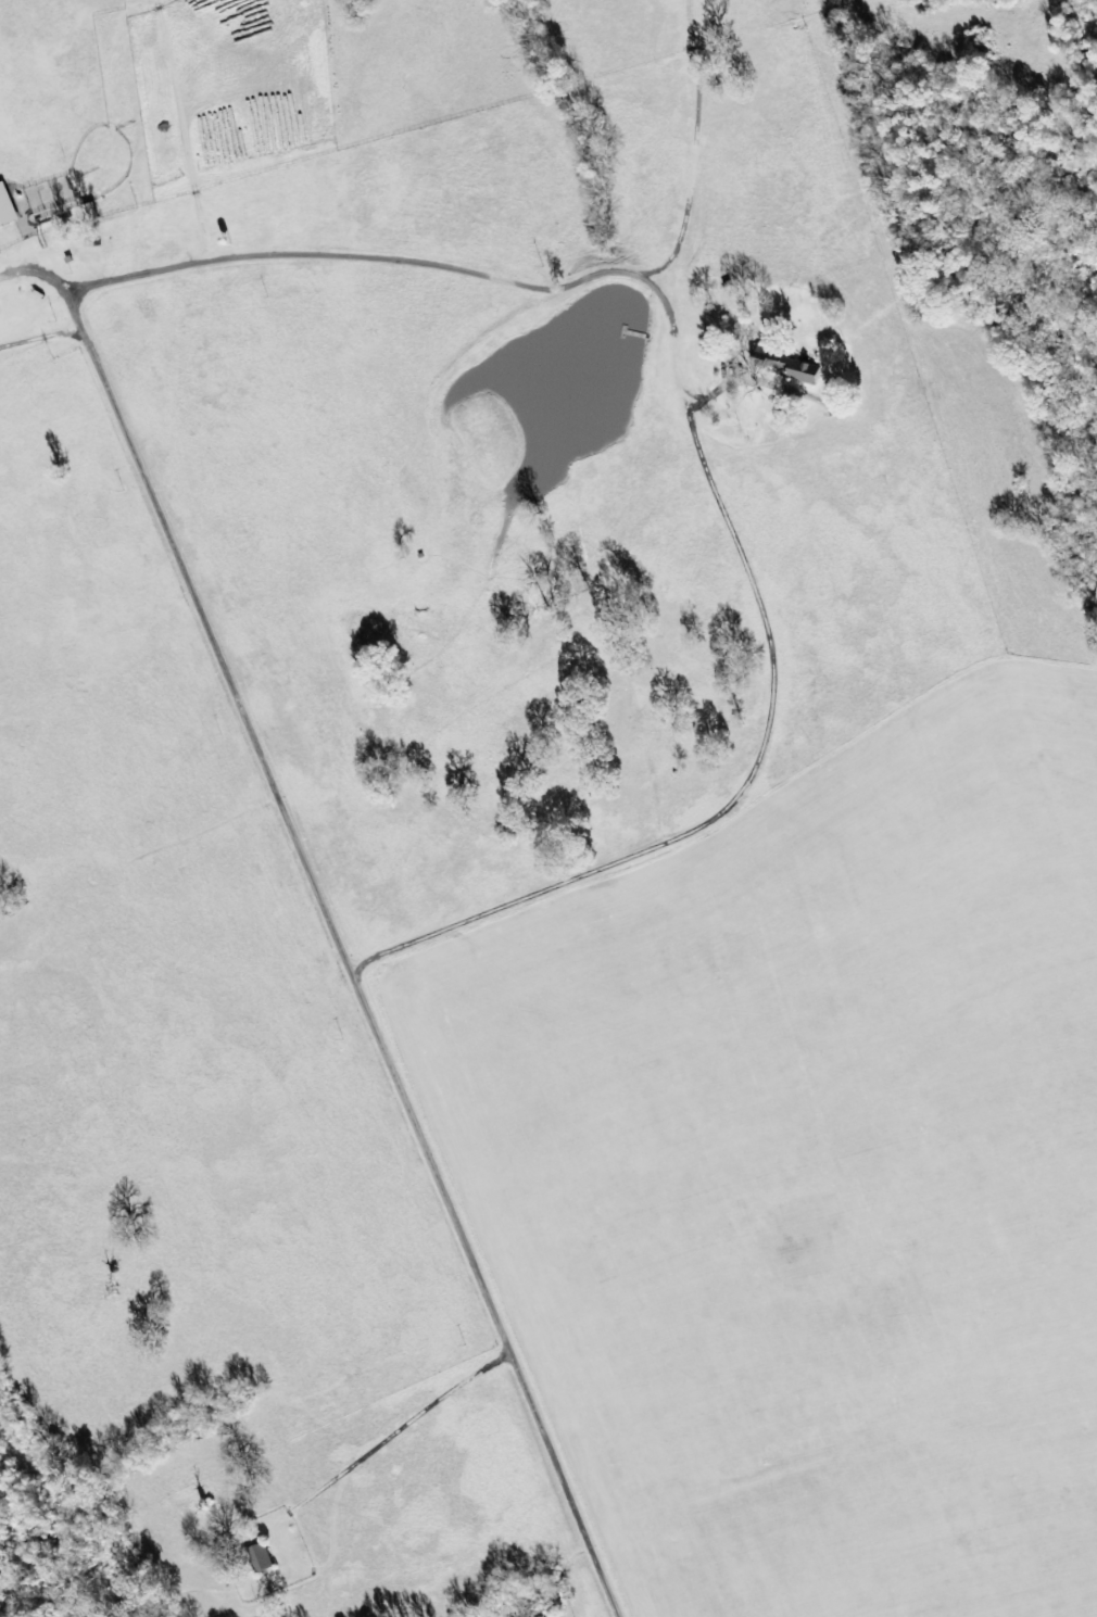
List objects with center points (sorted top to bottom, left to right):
building: (8, 206)
building: (92, 212)
building: (799, 370)
road: (318, 939)
building: (263, 1557)

